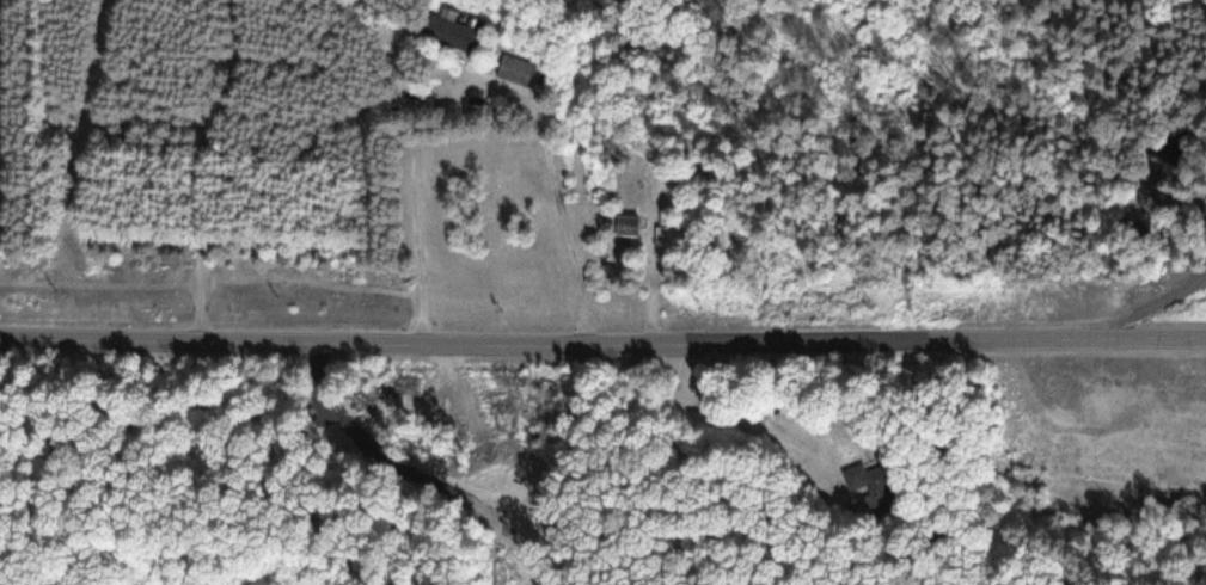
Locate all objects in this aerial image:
building: (453, 31)
building: (519, 69)
building: (1110, 181)
building: (1124, 226)
building: (629, 228)
building: (669, 228)
road: (602, 344)
building: (869, 488)

